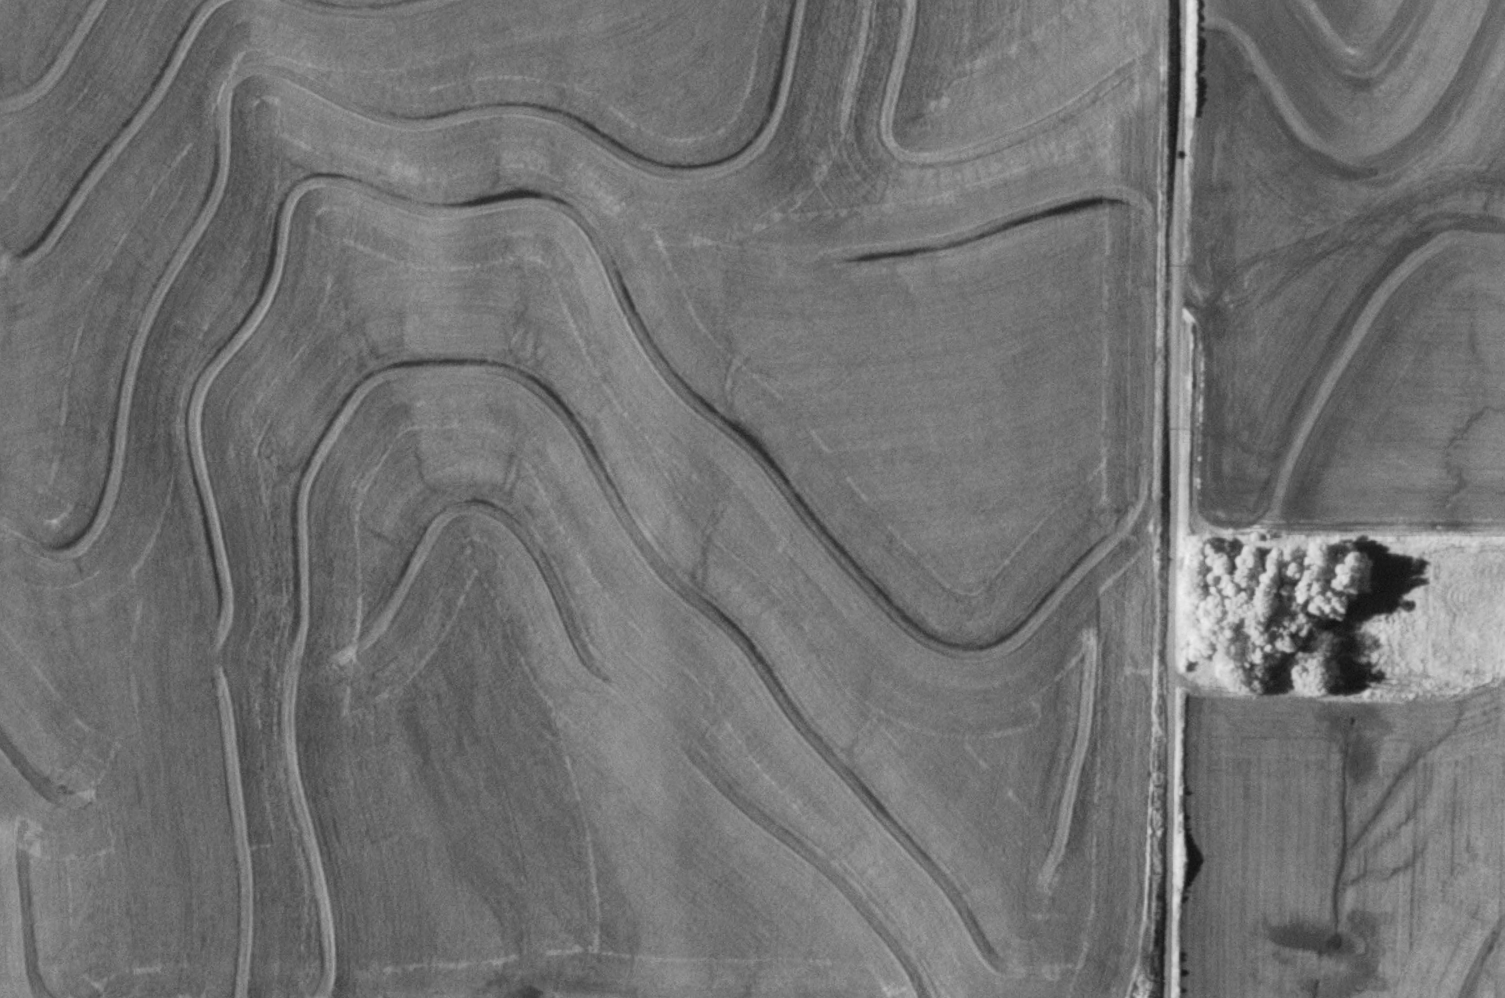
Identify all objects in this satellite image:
road: (1171, 499)
road: (1343, 609)

